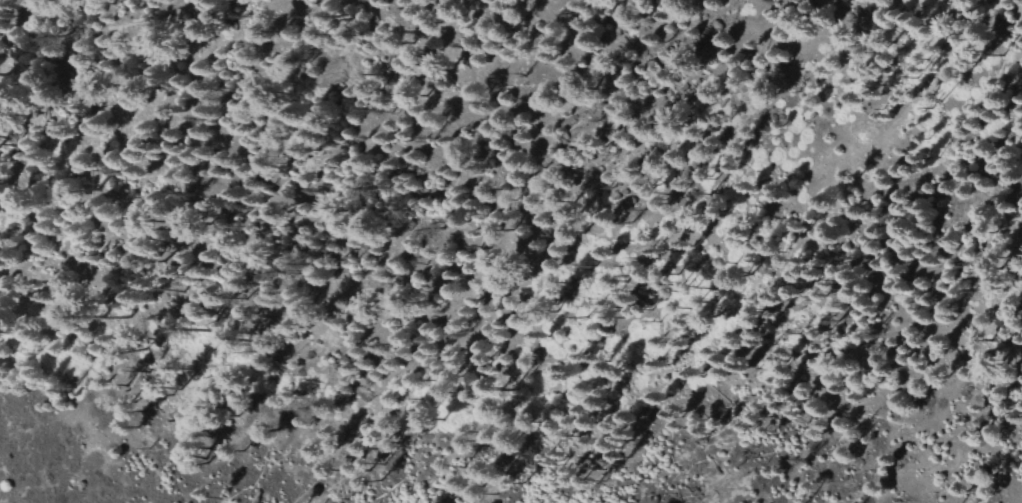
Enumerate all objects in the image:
road: (1018, 27)

